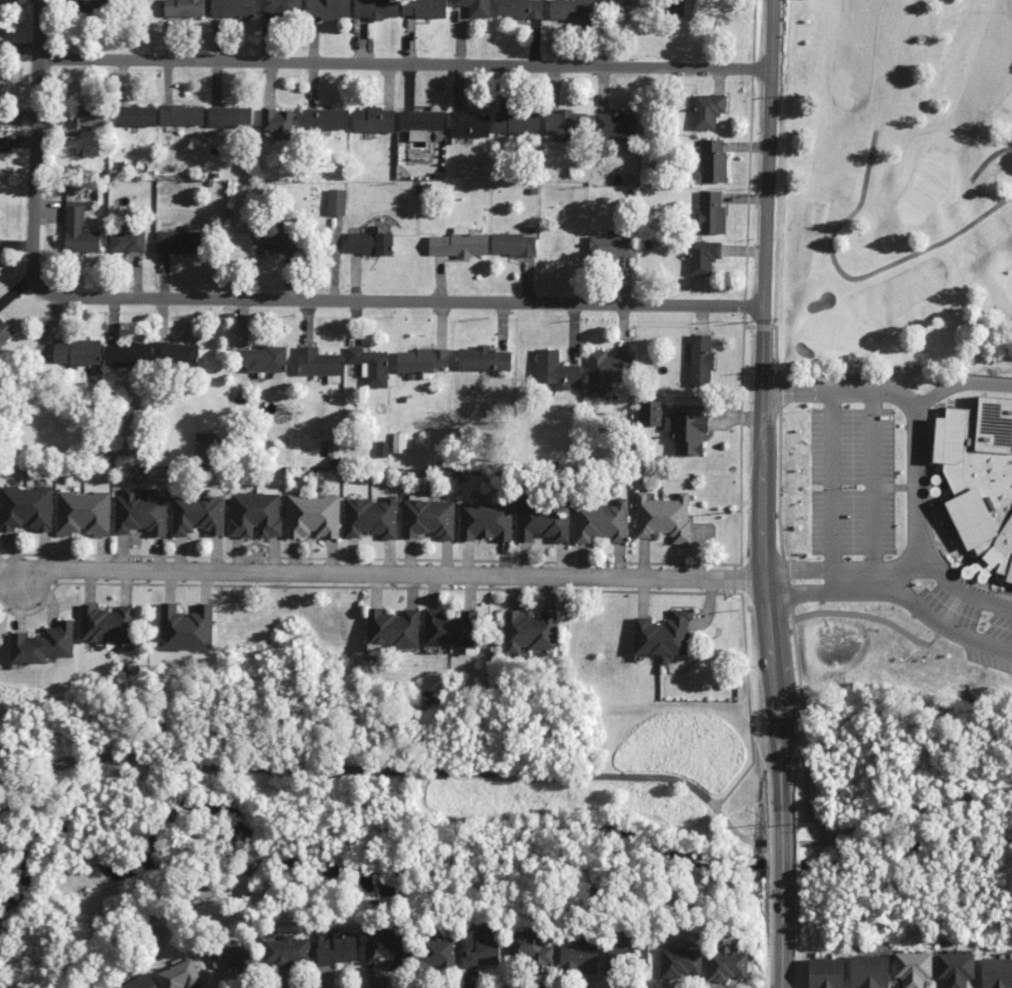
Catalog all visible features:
building: (92, 5)
building: (281, 7)
building: (475, 7)
building: (185, 8)
building: (232, 8)
building: (328, 8)
building: (424, 8)
building: (521, 8)
building: (684, 8)
building: (376, 9)
building: (569, 9)
road: (404, 62)
building: (708, 110)
building: (93, 115)
building: (136, 115)
building: (181, 115)
building: (230, 117)
building: (326, 118)
building: (374, 120)
building: (70, 122)
building: (278, 122)
building: (517, 122)
building: (565, 122)
building: (421, 123)
building: (469, 124)
building: (615, 124)
road: (35, 155)
building: (713, 161)
park: (899, 186)
building: (336, 202)
building: (711, 212)
building: (79, 232)
building: (275, 237)
building: (127, 240)
building: (178, 241)
building: (370, 242)
building: (459, 243)
building: (514, 244)
building: (611, 246)
building: (703, 257)
road: (411, 300)
building: (5, 332)
building: (77, 352)
building: (127, 354)
building: (175, 355)
building: (263, 359)
building: (422, 359)
building: (484, 359)
building: (701, 360)
building: (318, 362)
building: (370, 365)
building: (556, 370)
building: (606, 372)
road: (795, 386)
road: (848, 387)
building: (651, 412)
building: (687, 432)
building: (399, 442)
building: (206, 446)
building: (382, 448)
building: (980, 476)
road: (869, 488)
road: (757, 494)
building: (26, 508)
building: (140, 511)
building: (83, 513)
building: (198, 514)
building: (255, 514)
building: (313, 516)
building: (371, 517)
building: (663, 517)
building: (428, 518)
building: (486, 521)
building: (602, 522)
building: (543, 524)
road: (897, 566)
road: (794, 568)
road: (850, 568)
road: (384, 572)
road: (897, 581)
road: (963, 589)
road: (850, 590)
road: (795, 592)
road: (939, 622)
building: (107, 624)
building: (186, 627)
building: (393, 628)
building: (450, 628)
building: (530, 630)
building: (663, 635)
building: (44, 644)
road: (748, 699)
road: (376, 771)
road: (905, 806)
building: (387, 947)
building: (481, 947)
building: (338, 948)
building: (530, 949)
building: (288, 950)
building: (438, 952)
building: (626, 955)
building: (579, 958)
building: (242, 959)
building: (680, 962)
building: (726, 965)
building: (913, 968)
building: (955, 969)
building: (870, 971)
building: (996, 972)
building: (826, 973)
building: (181, 975)
building: (141, 982)

